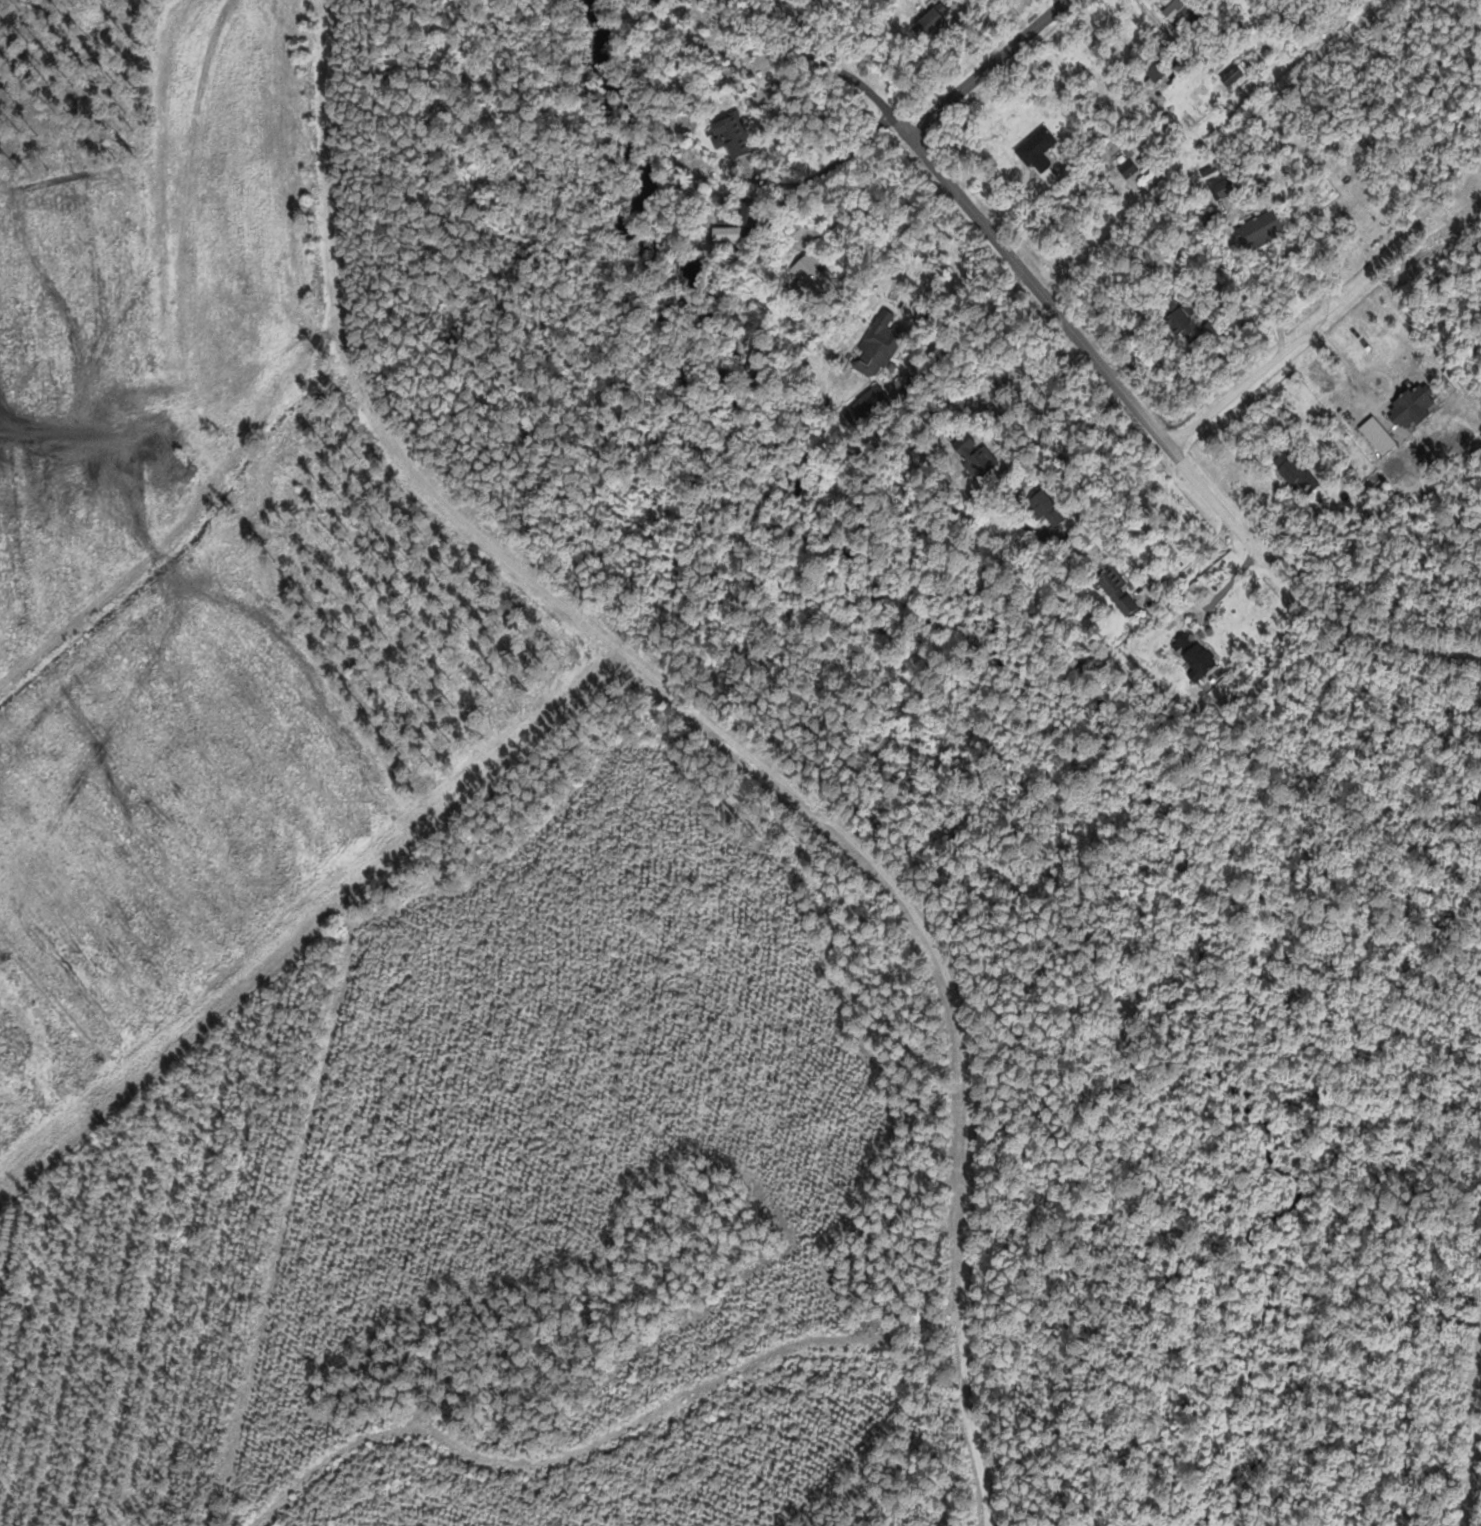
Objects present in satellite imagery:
building: (929, 23)
road: (805, 53)
road: (986, 66)
building: (733, 136)
road: (875, 152)
building: (1038, 155)
road: (828, 166)
building: (746, 213)
building: (1259, 229)
building: (726, 234)
road: (924, 249)
road: (1267, 265)
building: (810, 276)
road: (1324, 311)
building: (1180, 323)
building: (876, 349)
road: (1129, 397)
building: (866, 407)
road: (1090, 412)
building: (973, 455)
building: (1287, 470)
building: (1043, 509)
road: (1190, 561)
road: (1221, 588)
building: (1117, 590)
road: (1471, 1426)

